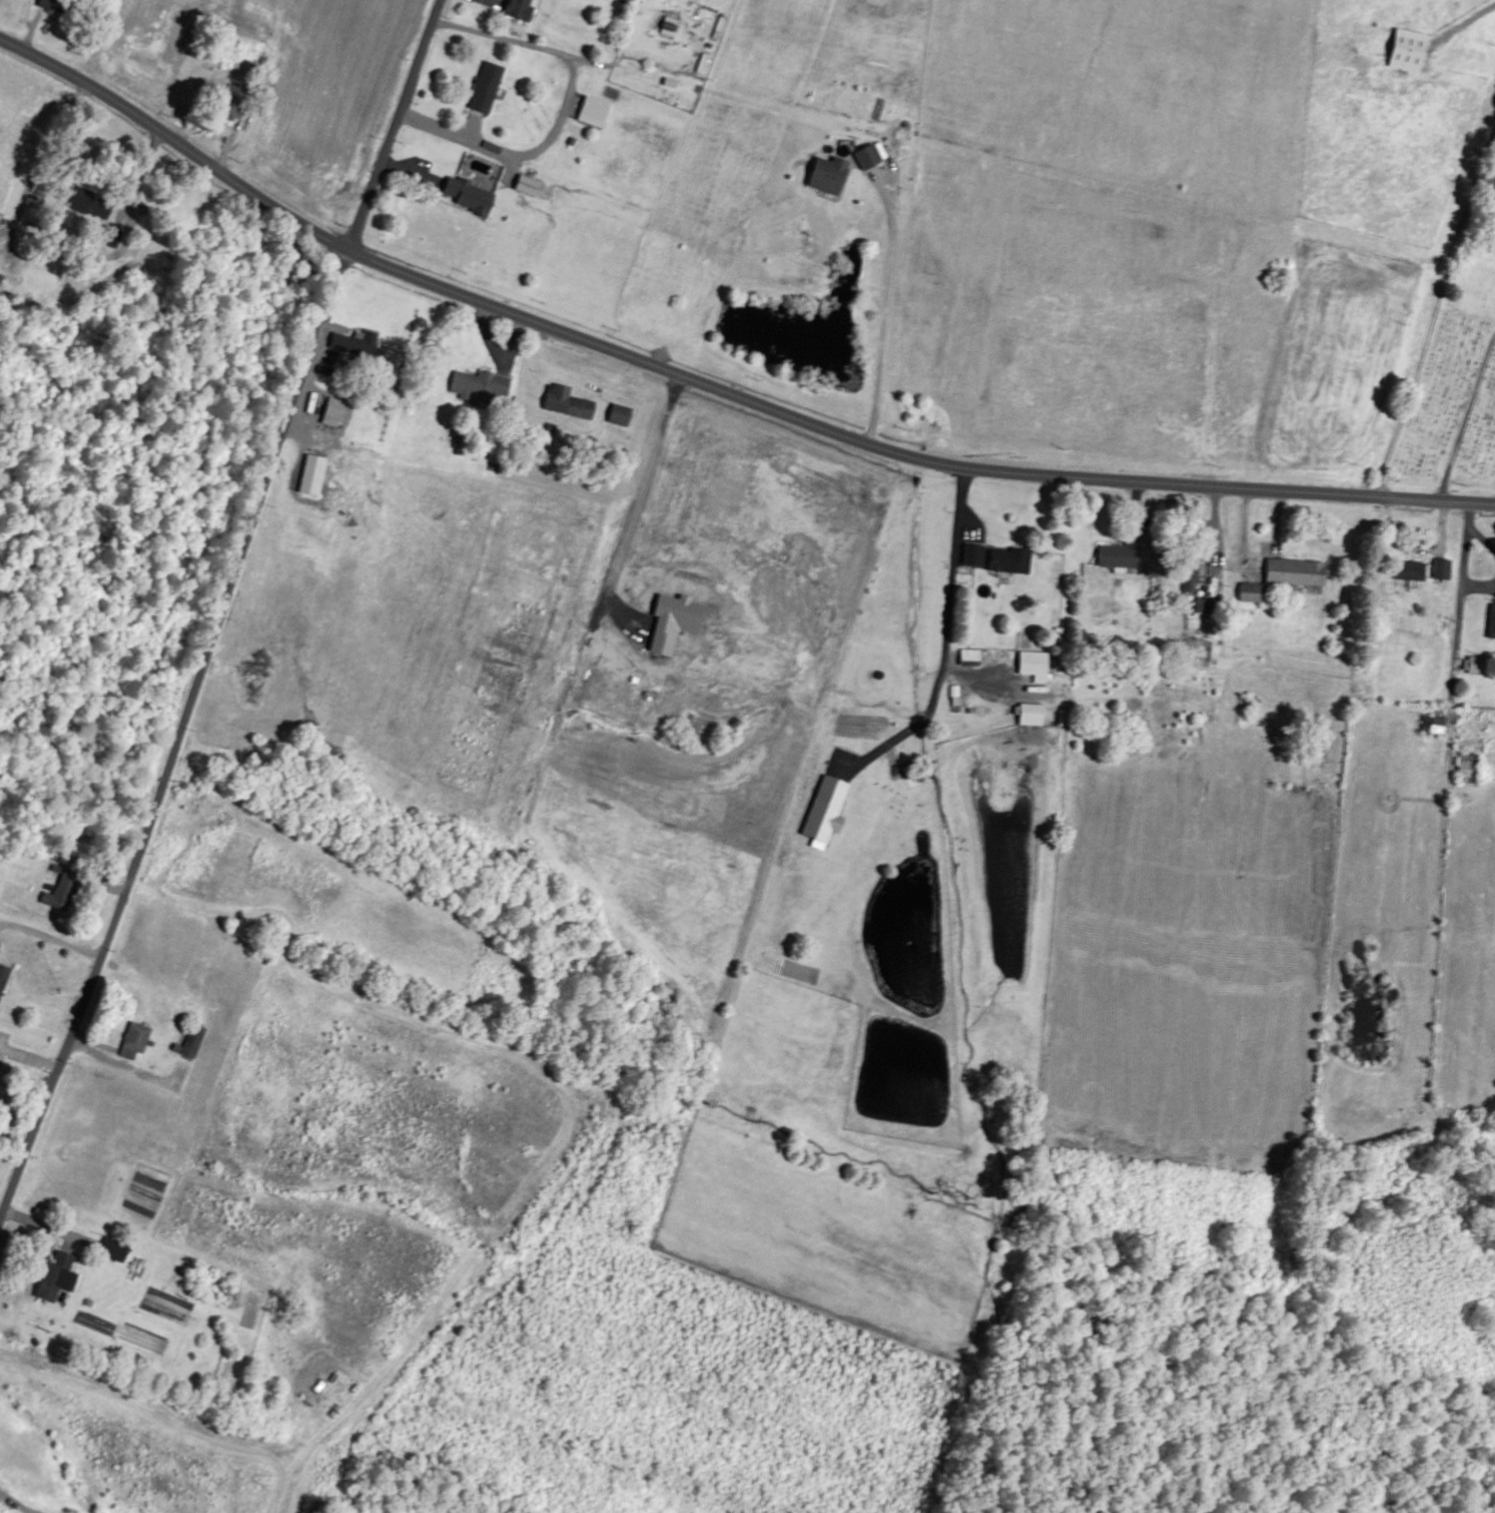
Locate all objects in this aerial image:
building: (60, 5)
building: (522, 9)
building: (1411, 50)
building: (488, 87)
road: (398, 123)
building: (869, 157)
building: (832, 175)
building: (527, 186)
building: (471, 195)
building: (90, 203)
building: (358, 344)
road: (712, 382)
park: (1457, 385)
building: (477, 387)
building: (569, 404)
building: (335, 413)
building: (621, 416)
building: (334, 471)
building: (1121, 556)
building: (1012, 560)
building: (1444, 569)
building: (1412, 571)
building: (1298, 572)
building: (1253, 593)
building: (1493, 622)
building: (972, 657)
building: (1036, 665)
building: (1477, 665)
building: (1033, 715)
road: (176, 725)
building: (1434, 726)
building: (1469, 769)
building: (65, 889)
building: (4, 978)
building: (136, 1041)
building: (193, 1041)
building: (116, 1250)
building: (59, 1276)

